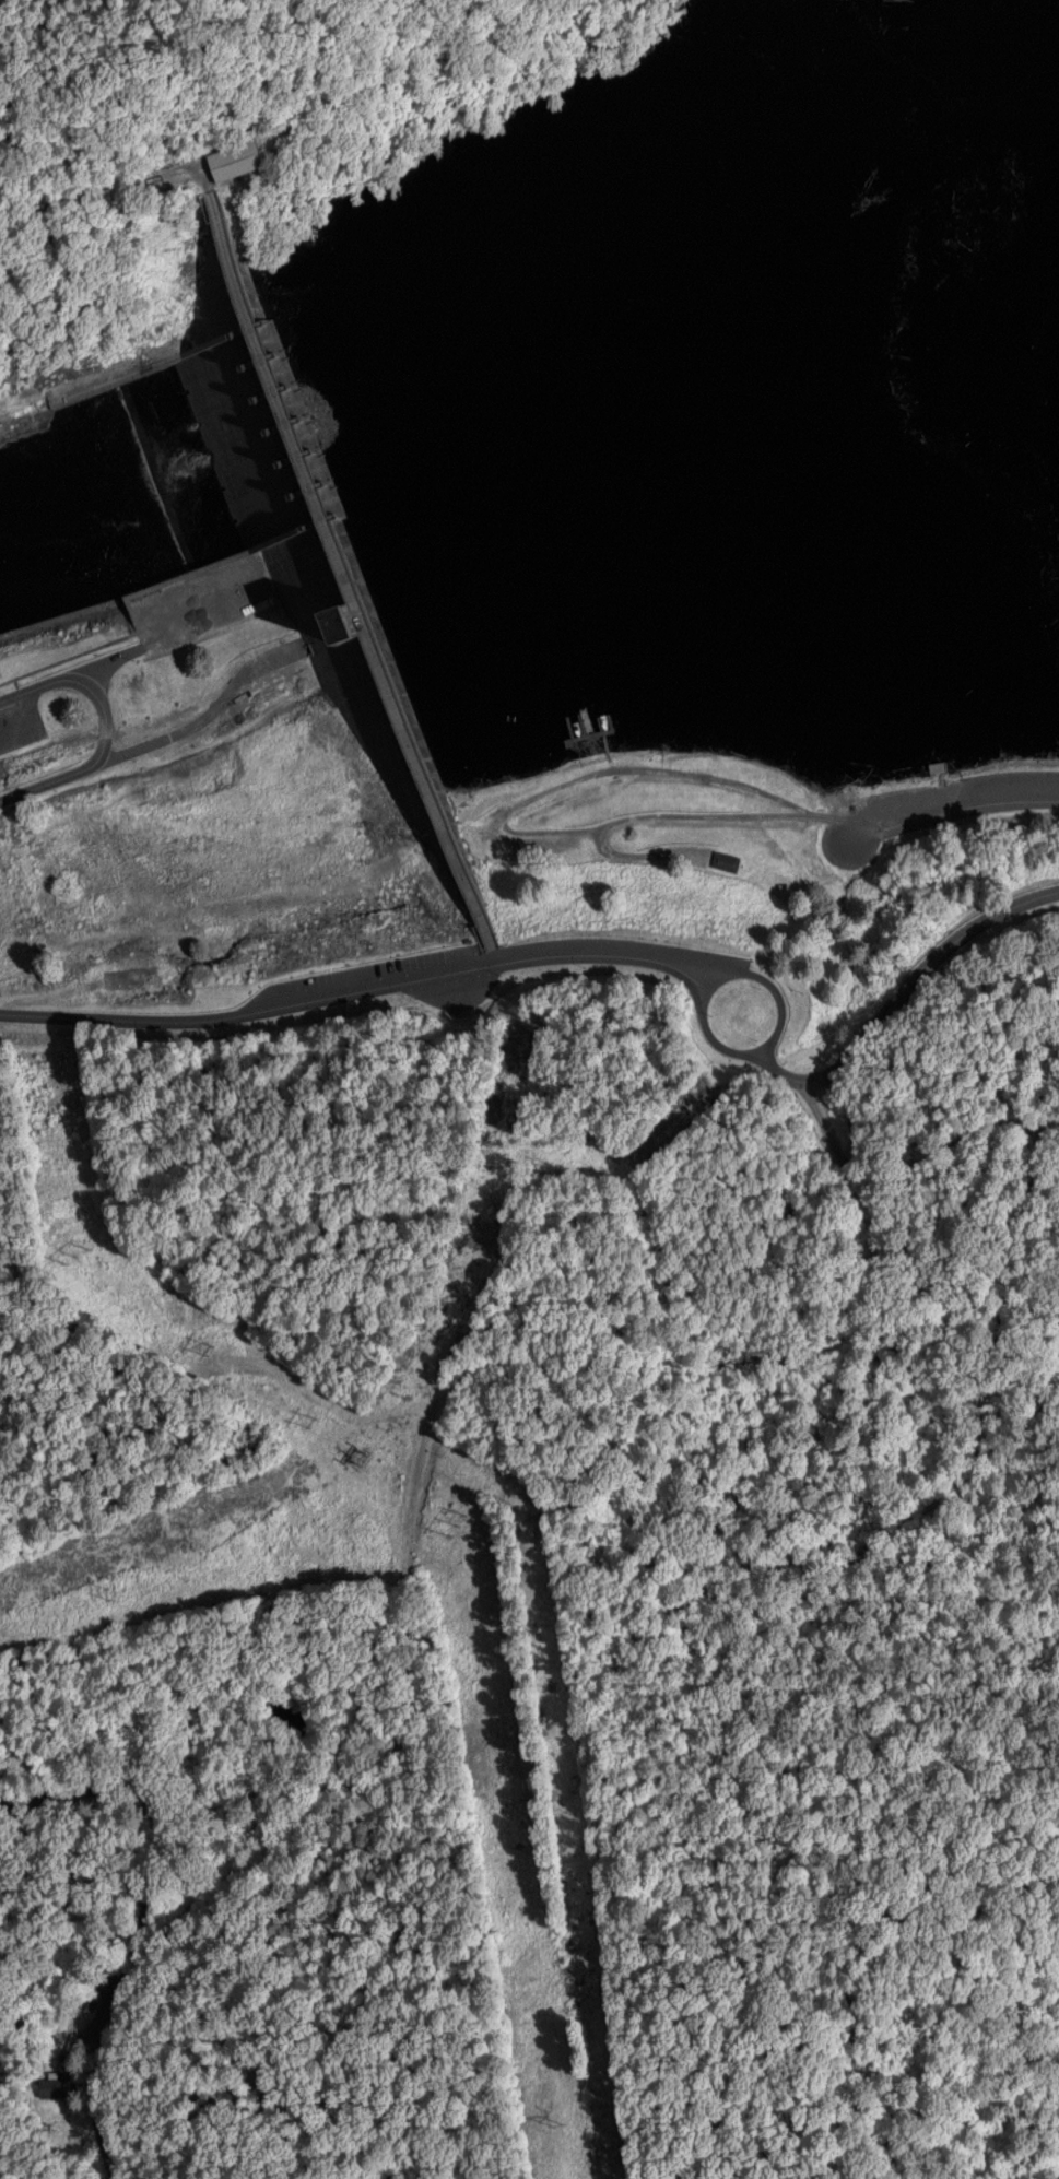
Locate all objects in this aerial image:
building: (224, 157)
river: (656, 295)
road: (19, 392)
river: (130, 472)
dam: (318, 566)
road: (86, 606)
road: (110, 658)
road: (82, 682)
road: (209, 714)
road: (31, 718)
parking lot: (21, 721)
road: (48, 779)
road: (967, 804)
road: (828, 845)
road: (616, 959)
road: (772, 992)
road: (920, 1155)
road: (473, 1404)
road: (844, 1838)
road: (97, 1944)
road: (737, 1994)
building: (50, 2085)

